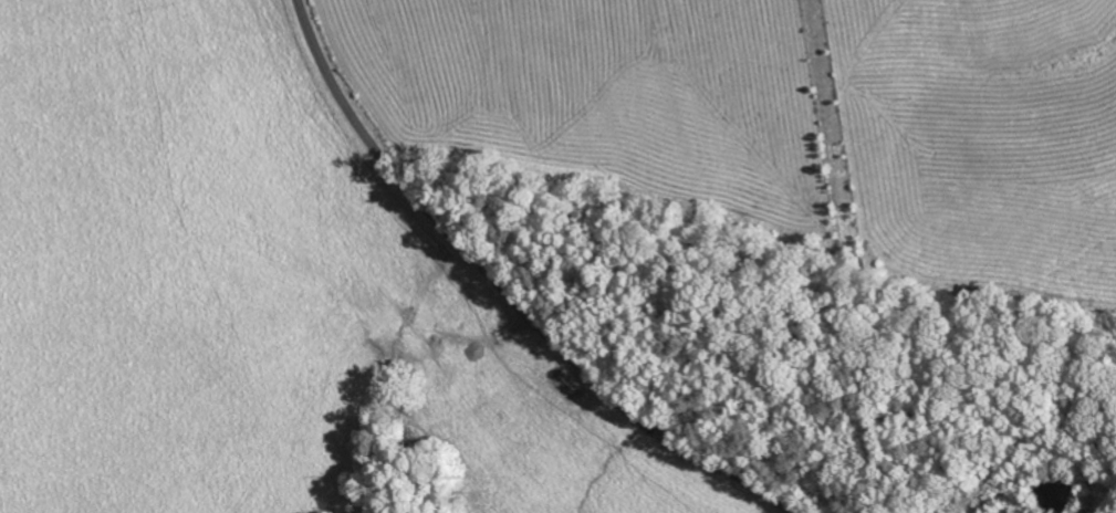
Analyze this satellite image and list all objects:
road: (504, 292)

